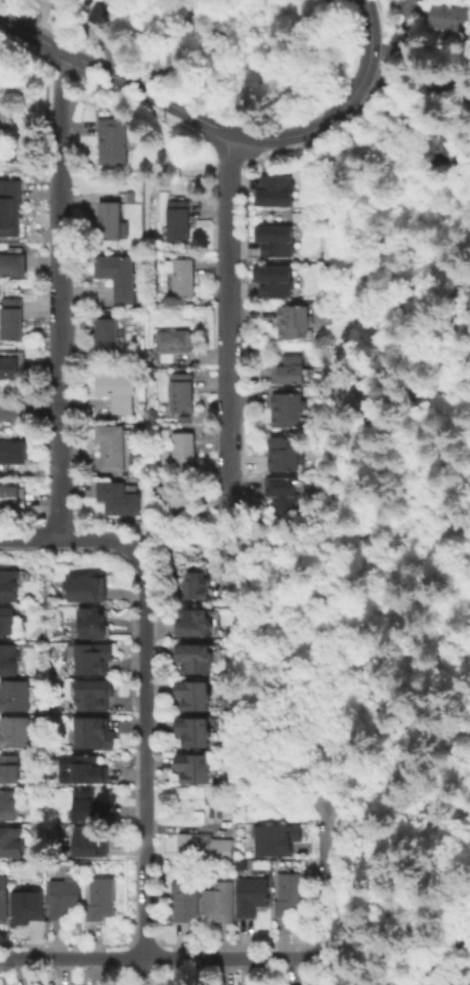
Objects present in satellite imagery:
building: (99, 10)
building: (446, 16)
road: (46, 54)
building: (165, 62)
building: (445, 88)
building: (6, 114)
road: (220, 129)
building: (113, 139)
building: (446, 144)
building: (279, 189)
building: (10, 207)
building: (110, 219)
building: (178, 219)
building: (276, 240)
building: (13, 264)
building: (118, 277)
building: (182, 277)
building: (271, 278)
road: (58, 294)
building: (11, 317)
building: (293, 321)
road: (225, 327)
building: (106, 336)
building: (173, 341)
building: (8, 366)
building: (288, 368)
building: (117, 389)
building: (181, 392)
building: (286, 408)
road: (28, 409)
building: (110, 446)
building: (183, 447)
building: (11, 451)
building: (283, 452)
building: (283, 494)
building: (173, 496)
building: (118, 497)
building: (11, 502)
road: (69, 539)
road: (144, 581)
building: (192, 581)
building: (10, 585)
building: (84, 587)
building: (8, 620)
building: (189, 622)
building: (92, 623)
building: (8, 658)
building: (195, 658)
building: (96, 659)
road: (144, 688)
building: (93, 693)
building: (194, 694)
building: (15, 696)
building: (192, 730)
building: (15, 732)
building: (93, 732)
building: (10, 767)
building: (192, 768)
building: (88, 769)
building: (9, 803)
building: (90, 804)
building: (278, 840)
building: (10, 841)
building: (90, 841)
building: (202, 846)
road: (327, 874)
road: (144, 875)
building: (254, 895)
building: (290, 895)
building: (4, 897)
building: (64, 898)
building: (103, 898)
building: (187, 899)
building: (220, 901)
building: (32, 905)
road: (385, 905)
road: (163, 958)
road: (445, 962)

